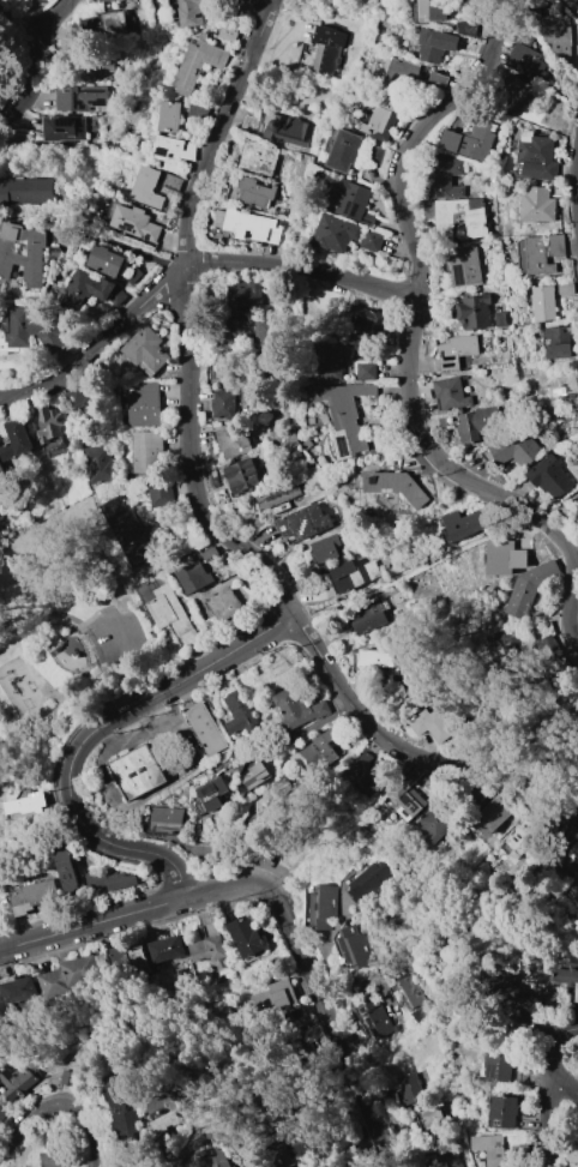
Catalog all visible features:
building: (103, 1)
building: (577, 4)
building: (425, 10)
building: (191, 12)
road: (35, 23)
building: (119, 24)
building: (468, 28)
building: (558, 34)
building: (228, 35)
building: (435, 44)
building: (329, 49)
building: (522, 60)
building: (199, 62)
building: (94, 71)
building: (404, 74)
building: (439, 78)
road: (34, 82)
building: (516, 96)
building: (80, 97)
building: (170, 115)
building: (383, 118)
building: (65, 128)
building: (290, 131)
building: (470, 140)
building: (343, 150)
building: (173, 151)
building: (377, 155)
building: (540, 155)
building: (259, 158)
building: (444, 175)
building: (173, 182)
building: (147, 185)
building: (25, 191)
building: (254, 192)
building: (355, 203)
building: (538, 204)
building: (458, 217)
building: (134, 222)
building: (248, 224)
building: (335, 234)
building: (373, 241)
road: (120, 245)
building: (55, 252)
building: (543, 252)
building: (22, 253)
building: (520, 258)
building: (106, 260)
road: (187, 265)
building: (464, 265)
building: (84, 288)
building: (566, 289)
building: (245, 295)
building: (544, 303)
building: (474, 312)
road: (187, 317)
building: (363, 324)
building: (30, 330)
building: (252, 332)
building: (558, 333)
road: (413, 335)
building: (145, 350)
building: (457, 350)
building: (559, 350)
building: (333, 361)
building: (367, 371)
building: (555, 392)
building: (77, 395)
building: (451, 395)
building: (144, 405)
building: (229, 407)
building: (345, 416)
building: (468, 423)
building: (50, 431)
building: (17, 440)
building: (233, 441)
building: (517, 447)
building: (146, 450)
building: (98, 464)
building: (2, 471)
building: (243, 476)
building: (550, 477)
building: (397, 487)
building: (162, 493)
building: (278, 495)
road: (566, 499)
building: (307, 521)
building: (466, 522)
building: (132, 537)
building: (327, 548)
building: (210, 553)
building: (504, 557)
building: (354, 575)
building: (194, 577)
building: (529, 589)
building: (224, 604)
road: (91, 616)
building: (174, 616)
building: (367, 618)
road: (85, 628)
park: (64, 634)
parking lot: (121, 637)
building: (549, 638)
building: (505, 646)
road: (134, 650)
building: (378, 658)
building: (558, 666)
building: (567, 696)
building: (297, 708)
building: (242, 717)
building: (432, 724)
building: (205, 728)
power substation: (205, 728)
road: (98, 730)
building: (321, 748)
road: (407, 751)
building: (138, 771)
building: (211, 774)
building: (257, 775)
building: (365, 776)
building: (279, 788)
building: (410, 796)
building: (210, 798)
building: (26, 807)
building: (492, 816)
building: (168, 819)
building: (438, 824)
building: (522, 835)
road: (231, 861)
building: (562, 864)
building: (67, 870)
building: (108, 879)
building: (367, 880)
building: (576, 884)
road: (213, 891)
building: (34, 896)
building: (321, 907)
road: (84, 921)
road: (1, 937)
building: (246, 937)
building: (209, 943)
building: (356, 948)
building: (168, 949)
road: (327, 954)
building: (139, 961)
building: (120, 963)
building: (68, 973)
building: (568, 976)
building: (19, 987)
building: (413, 993)
building: (517, 993)
building: (276, 995)
building: (577, 997)
building: (221, 1011)
building: (375, 1018)
road: (327, 1022)
building: (291, 1023)
road: (556, 1059)
building: (504, 1065)
building: (70, 1078)
building: (19, 1083)
building: (411, 1088)
building: (165, 1102)
road: (61, 1106)
building: (126, 1108)
building: (1, 1112)
building: (271, 1112)
building: (506, 1112)
road: (548, 1120)
building: (170, 1121)
building: (417, 1123)
road: (221, 1139)
building: (490, 1148)
building: (519, 1150)
building: (284, 1155)
building: (573, 1156)
building: (221, 1157)
building: (52, 1159)
building: (448, 1160)

